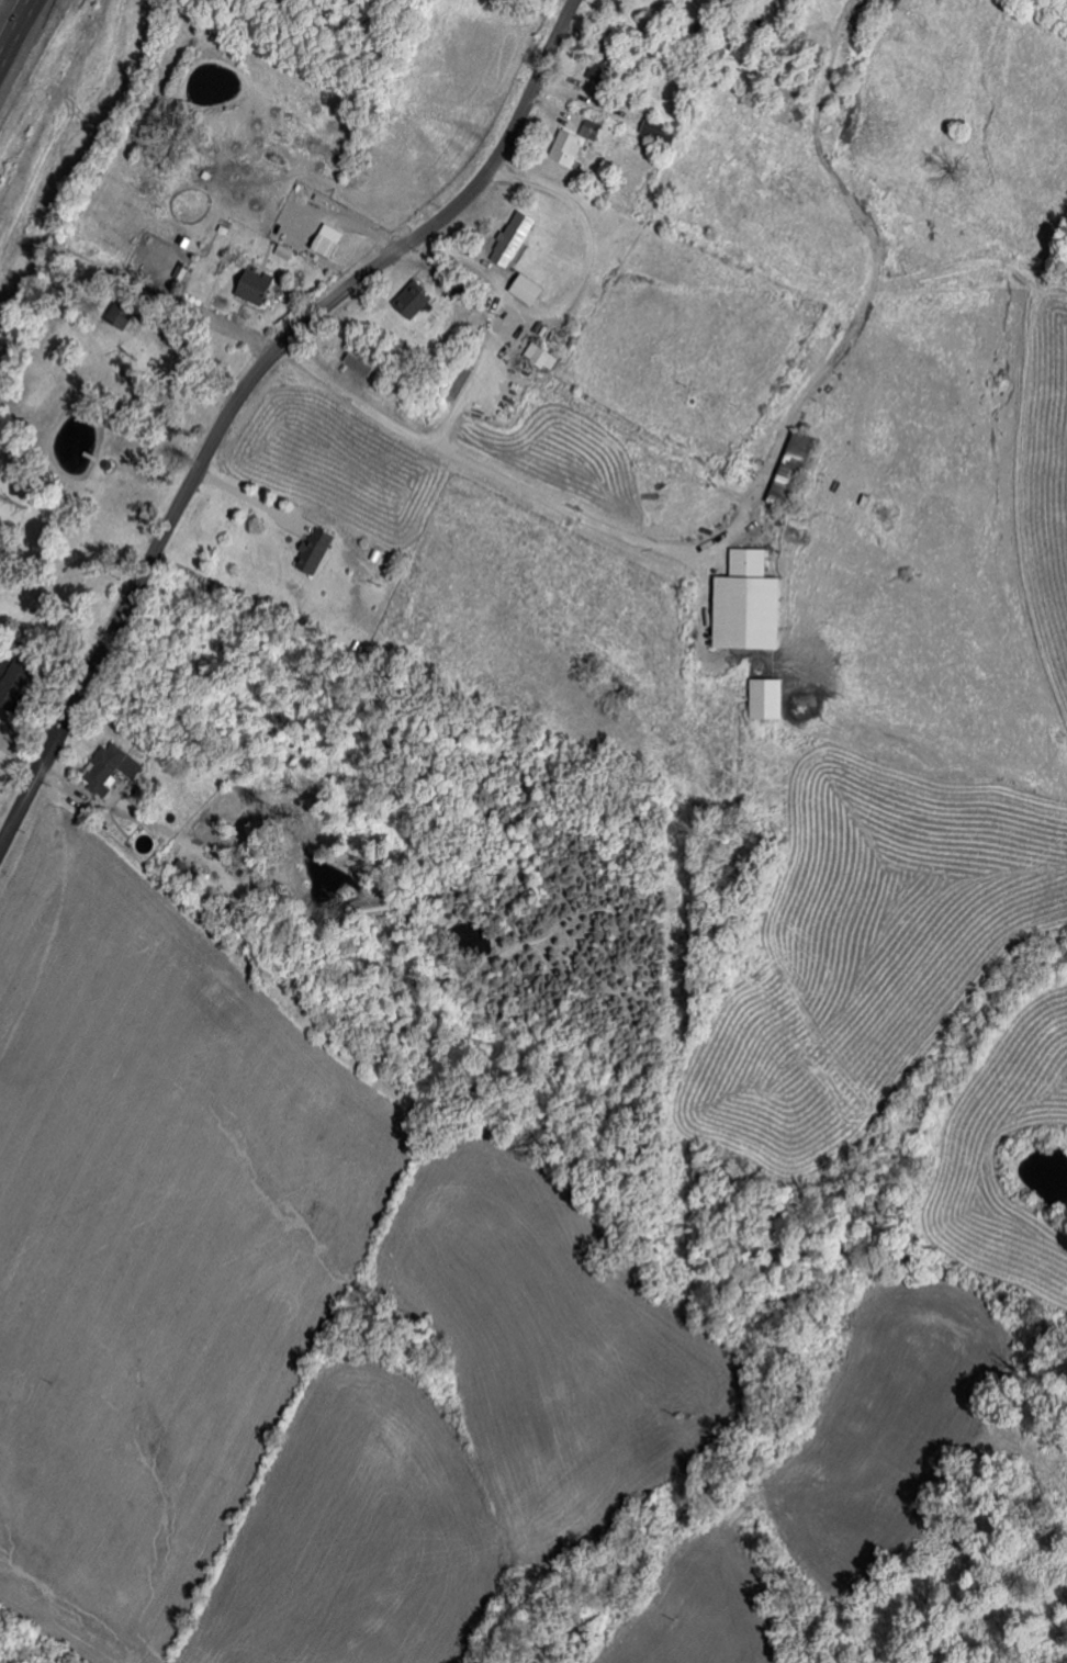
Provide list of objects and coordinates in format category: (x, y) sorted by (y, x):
road: (14, 29)
building: (602, 70)
building: (662, 131)
building: (580, 142)
road: (585, 217)
building: (517, 238)
building: (333, 240)
road: (440, 254)
building: (182, 269)
building: (259, 285)
building: (535, 289)
building: (417, 299)
building: (544, 356)
building: (367, 359)
road: (244, 386)
road: (459, 398)
building: (795, 468)
road: (247, 496)
road: (752, 497)
building: (314, 548)
building: (753, 603)
building: (771, 698)
building: (114, 767)
building: (1, 774)

